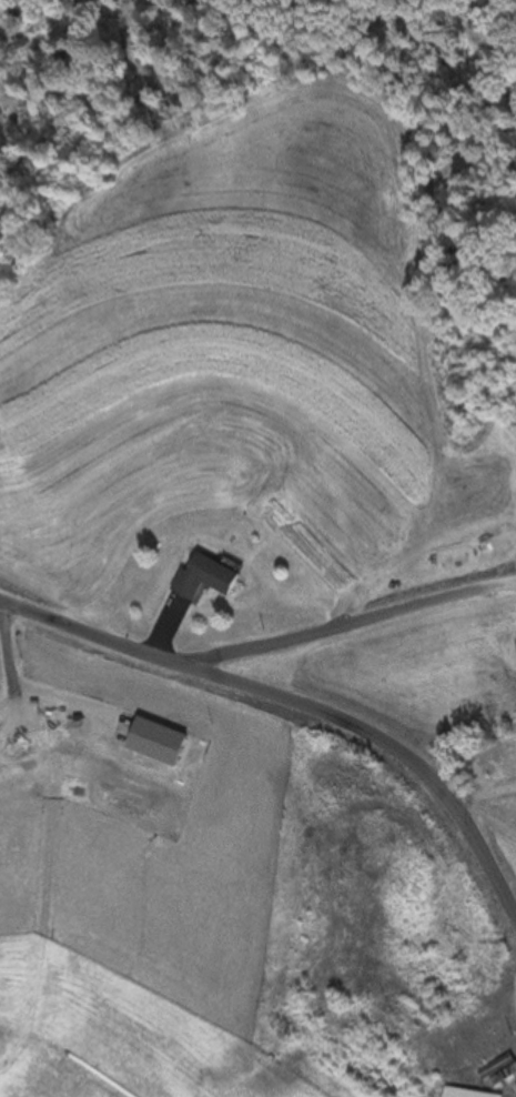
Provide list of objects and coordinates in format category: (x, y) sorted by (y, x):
road: (353, 634)
road: (299, 715)
road: (512, 990)

